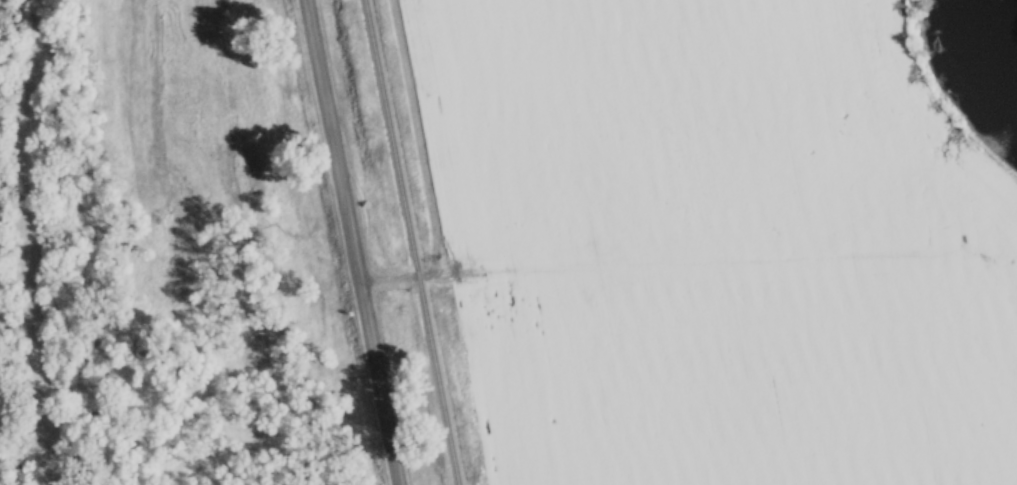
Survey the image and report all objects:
river: (1013, 25)
road: (352, 242)
railway: (411, 242)
road: (415, 276)

